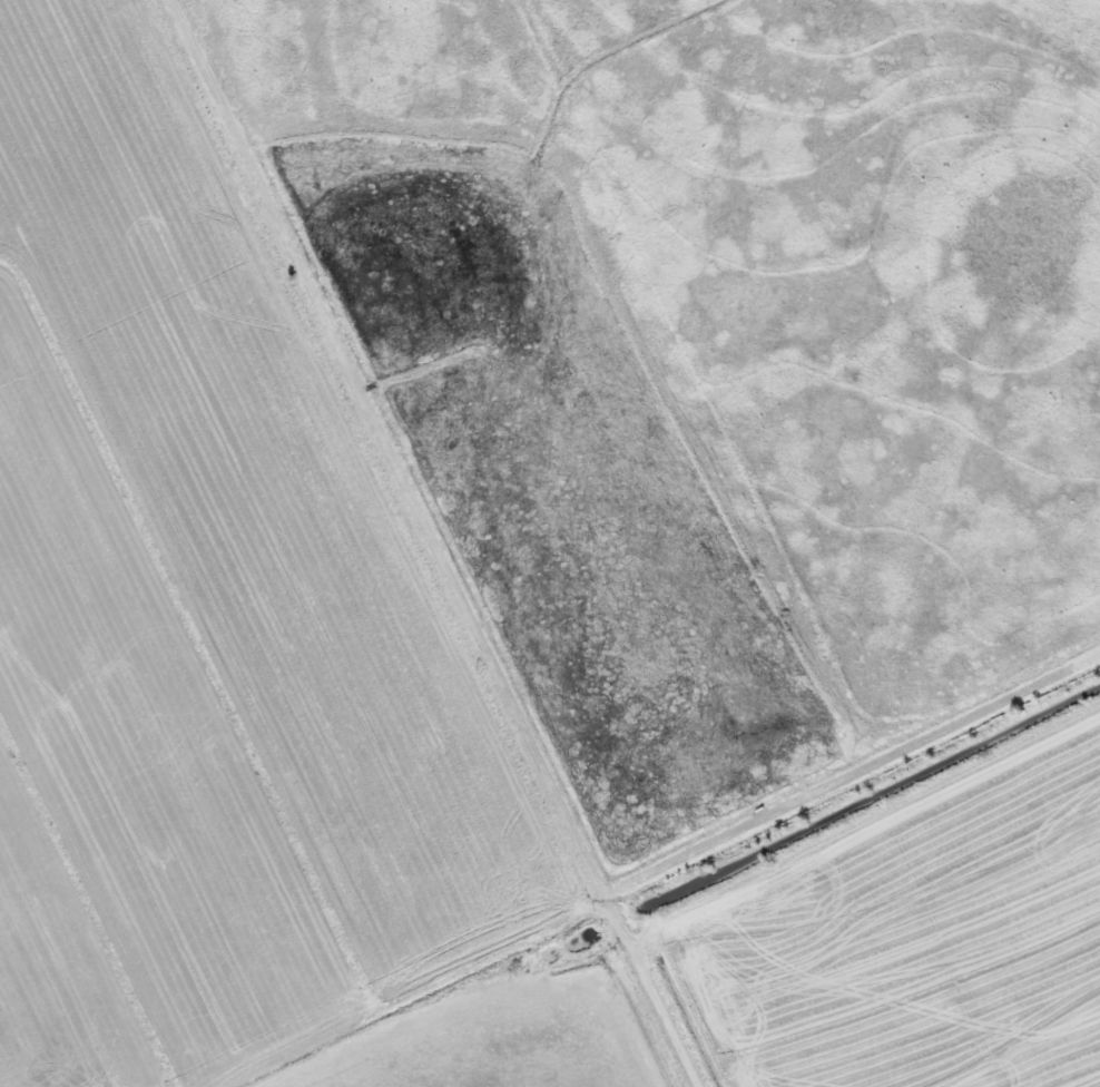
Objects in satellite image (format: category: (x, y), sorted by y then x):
road: (441, 543)

